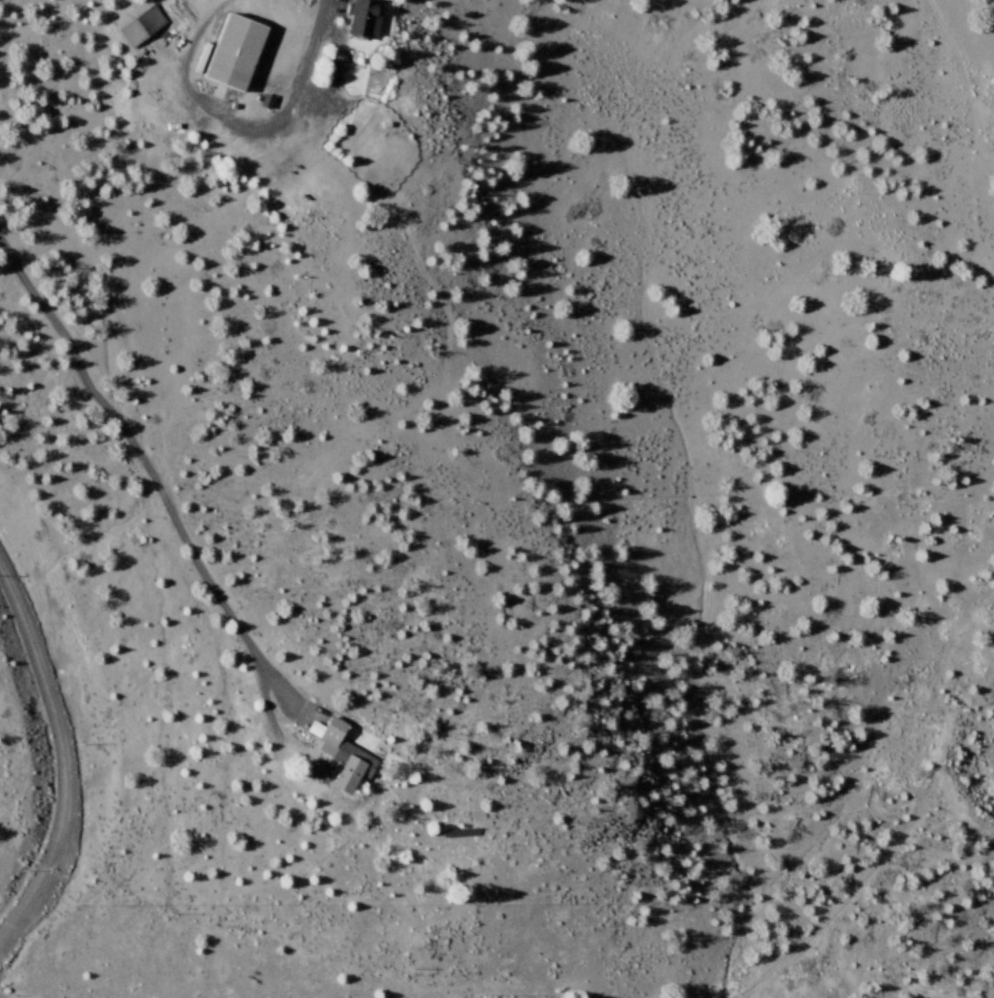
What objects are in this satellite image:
building: (361, 19)
building: (139, 26)
building: (231, 52)
road: (54, 716)
building: (339, 755)
road: (22, 905)

